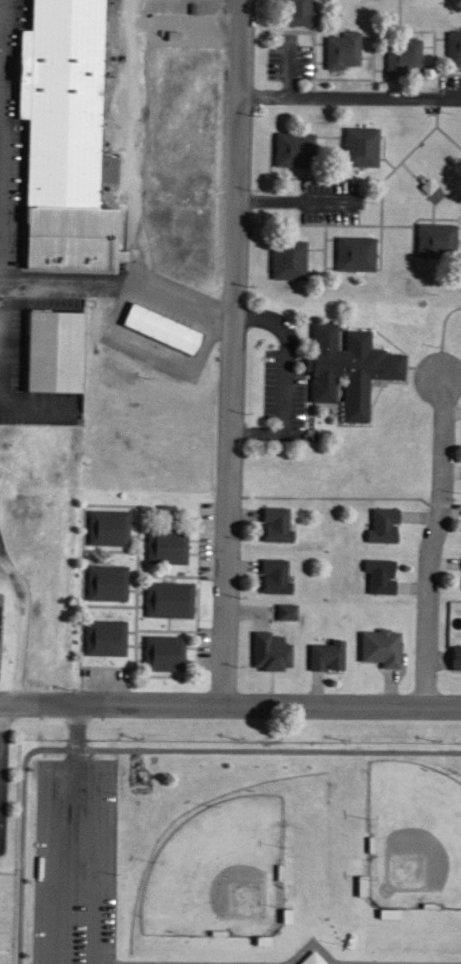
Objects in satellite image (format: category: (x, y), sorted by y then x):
building: (296, 11)
road: (1, 23)
building: (453, 45)
building: (340, 47)
road: (239, 48)
building: (402, 55)
road: (1, 76)
road: (349, 97)
building: (62, 103)
road: (1, 117)
road: (1, 136)
road: (130, 141)
building: (358, 144)
building: (292, 147)
road: (0, 173)
road: (292, 203)
building: (433, 237)
building: (67, 238)
building: (353, 251)
building: (287, 257)
road: (117, 283)
building: (161, 329)
building: (52, 351)
building: (345, 366)
road: (285, 380)
road: (228, 401)
road: (35, 402)
road: (167, 517)
building: (274, 521)
building: (380, 522)
building: (107, 528)
road: (429, 543)
building: (165, 547)
road: (111, 552)
building: (378, 572)
building: (272, 573)
road: (165, 575)
building: (105, 583)
road: (134, 598)
building: (167, 600)
building: (284, 608)
road: (21, 626)
road: (159, 631)
building: (103, 638)
building: (378, 644)
building: (268, 648)
building: (324, 652)
building: (162, 654)
building: (454, 654)
road: (230, 707)
road: (76, 734)
road: (140, 751)
park: (416, 836)
building: (235, 844)
road: (44, 848)
road: (86, 858)
park: (222, 872)

